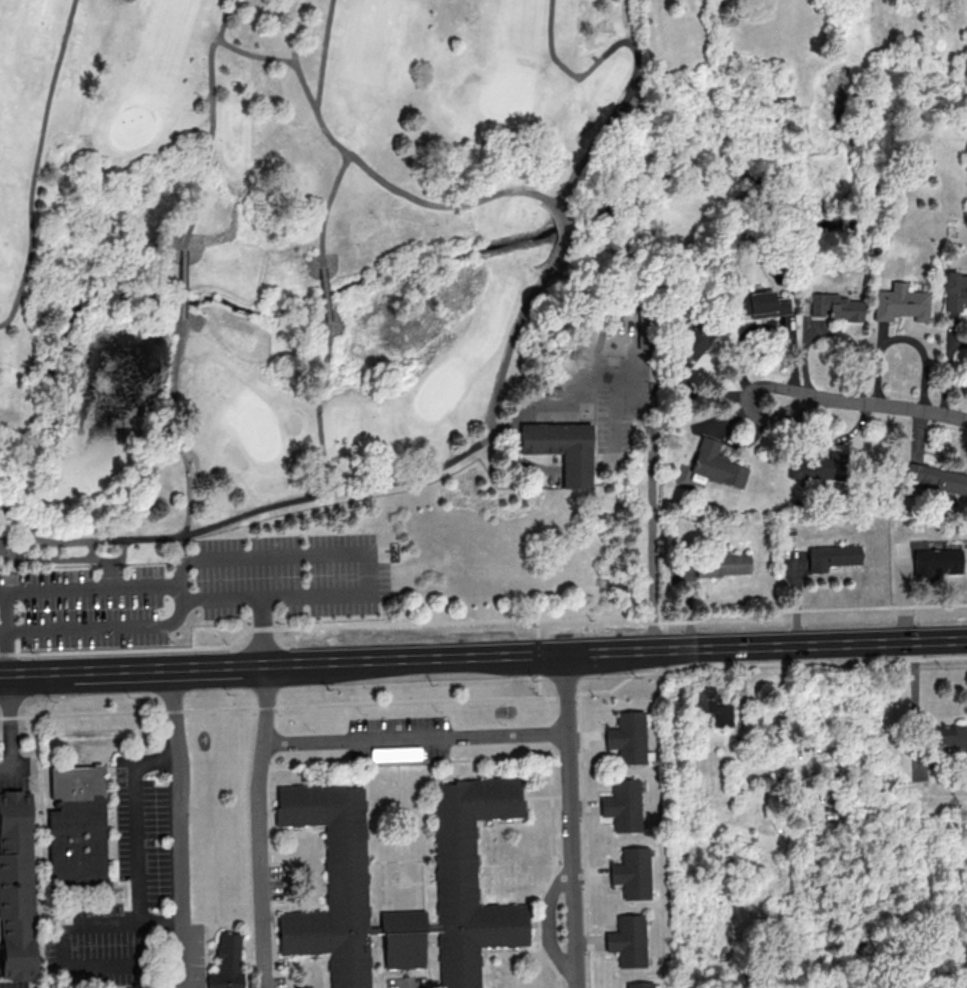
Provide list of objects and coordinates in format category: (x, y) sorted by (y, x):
road: (323, 55)
road: (254, 56)
road: (635, 56)
road: (211, 124)
road: (35, 165)
road: (372, 175)
road: (326, 208)
river: (540, 236)
road: (566, 239)
road: (185, 285)
building: (953, 291)
road: (326, 294)
building: (898, 303)
building: (760, 304)
building: (831, 307)
building: (648, 321)
park: (326, 323)
road: (602, 328)
road: (759, 329)
road: (828, 332)
road: (903, 339)
building: (690, 343)
road: (507, 348)
road: (947, 373)
road: (707, 398)
road: (869, 404)
road: (319, 414)
road: (516, 419)
road: (175, 441)
building: (565, 450)
road: (521, 462)
building: (715, 464)
building: (814, 468)
road: (650, 471)
building: (936, 478)
road: (550, 479)
road: (324, 484)
road: (248, 514)
road: (8, 535)
road: (90, 550)
building: (831, 556)
road: (67, 560)
building: (935, 561)
building: (722, 564)
road: (368, 565)
road: (107, 573)
road: (89, 585)
road: (179, 592)
parking lot: (195, 592)
road: (482, 620)
road: (537, 626)
road: (102, 628)
road: (263, 630)
road: (5, 631)
traffic signals: (564, 653)
road: (537, 654)
road: (483, 655)
road: (538, 686)
road: (487, 698)
building: (711, 705)
road: (10, 723)
road: (914, 726)
building: (946, 735)
building: (627, 737)
road: (415, 739)
building: (395, 753)
building: (622, 805)
road: (570, 820)
building: (75, 824)
road: (259, 825)
road: (179, 827)
building: (351, 864)
building: (632, 872)
building: (16, 888)
road: (162, 923)
road: (130, 924)
building: (627, 940)
building: (226, 962)
road: (405, 983)
building: (639, 984)

